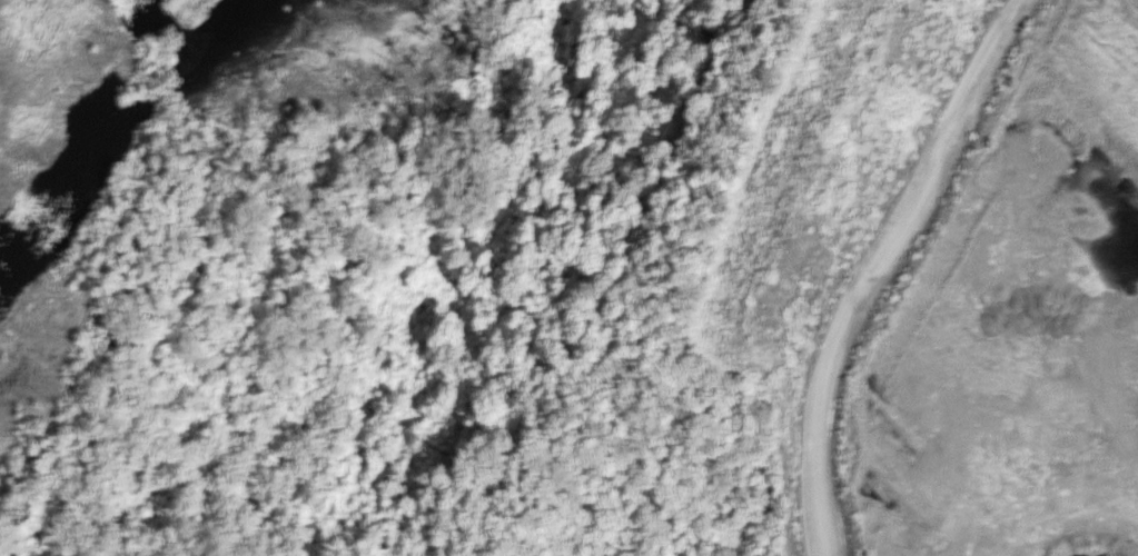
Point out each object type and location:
quarry: (990, 316)

